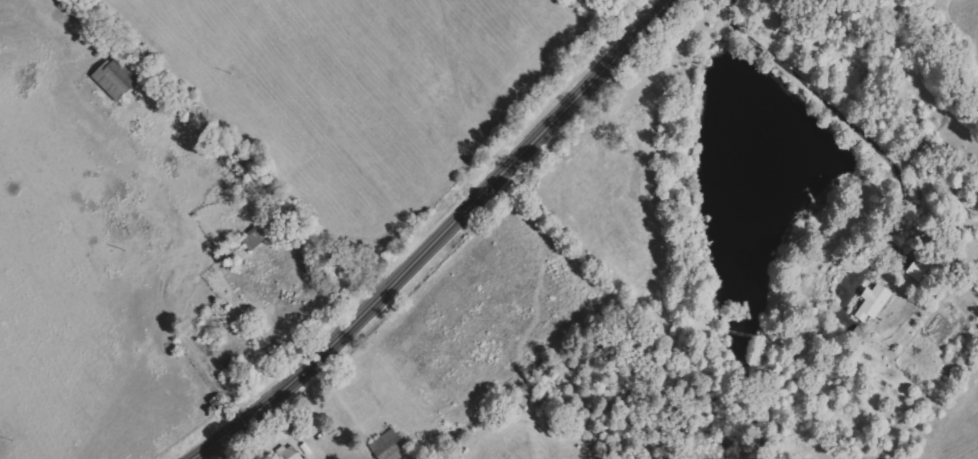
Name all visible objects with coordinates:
building: (120, 80)
road: (855, 126)
building: (254, 239)
road: (434, 241)
building: (873, 302)
building: (858, 333)
building: (389, 446)

